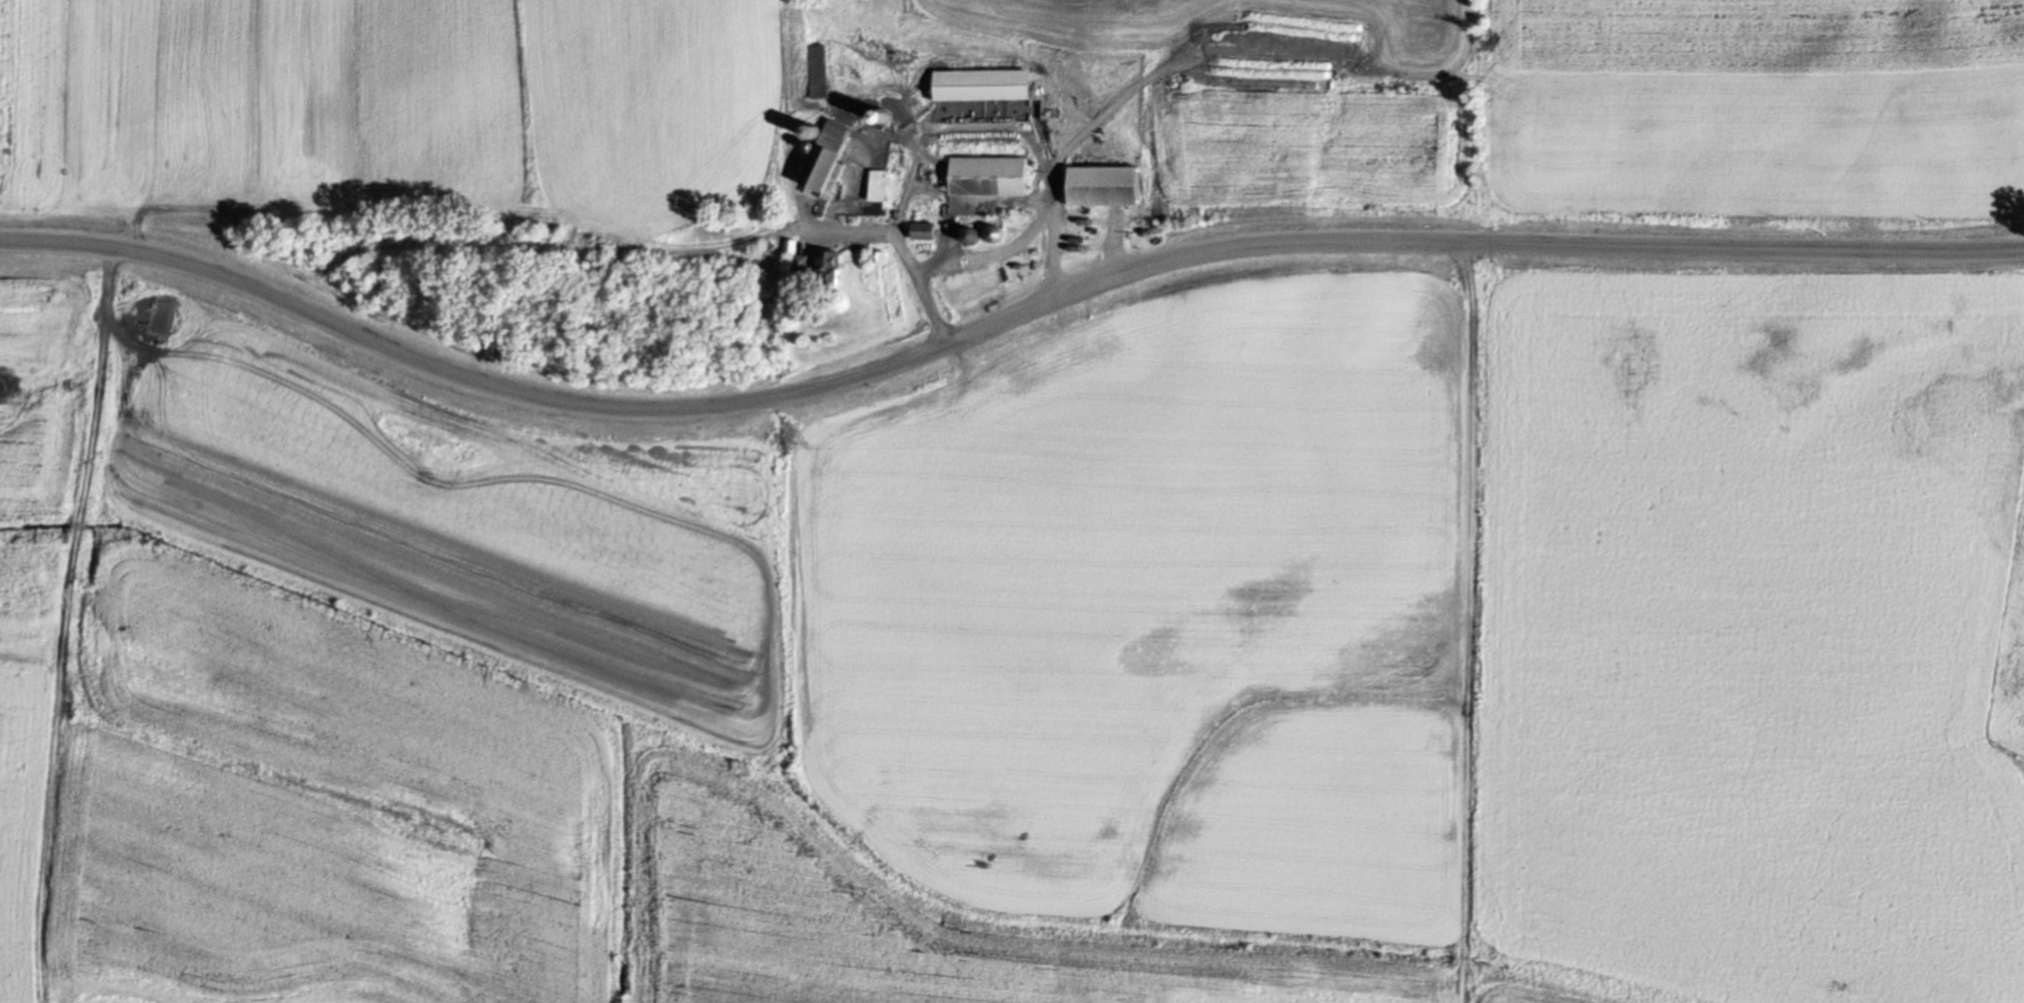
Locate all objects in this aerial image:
building: (818, 68)
building: (980, 83)
building: (825, 155)
building: (988, 174)
building: (876, 183)
building: (1103, 184)
building: (922, 229)
road: (873, 230)
building: (790, 244)
building: (761, 251)
building: (876, 254)
road: (996, 254)
building: (800, 263)
building: (828, 268)
road: (997, 323)

